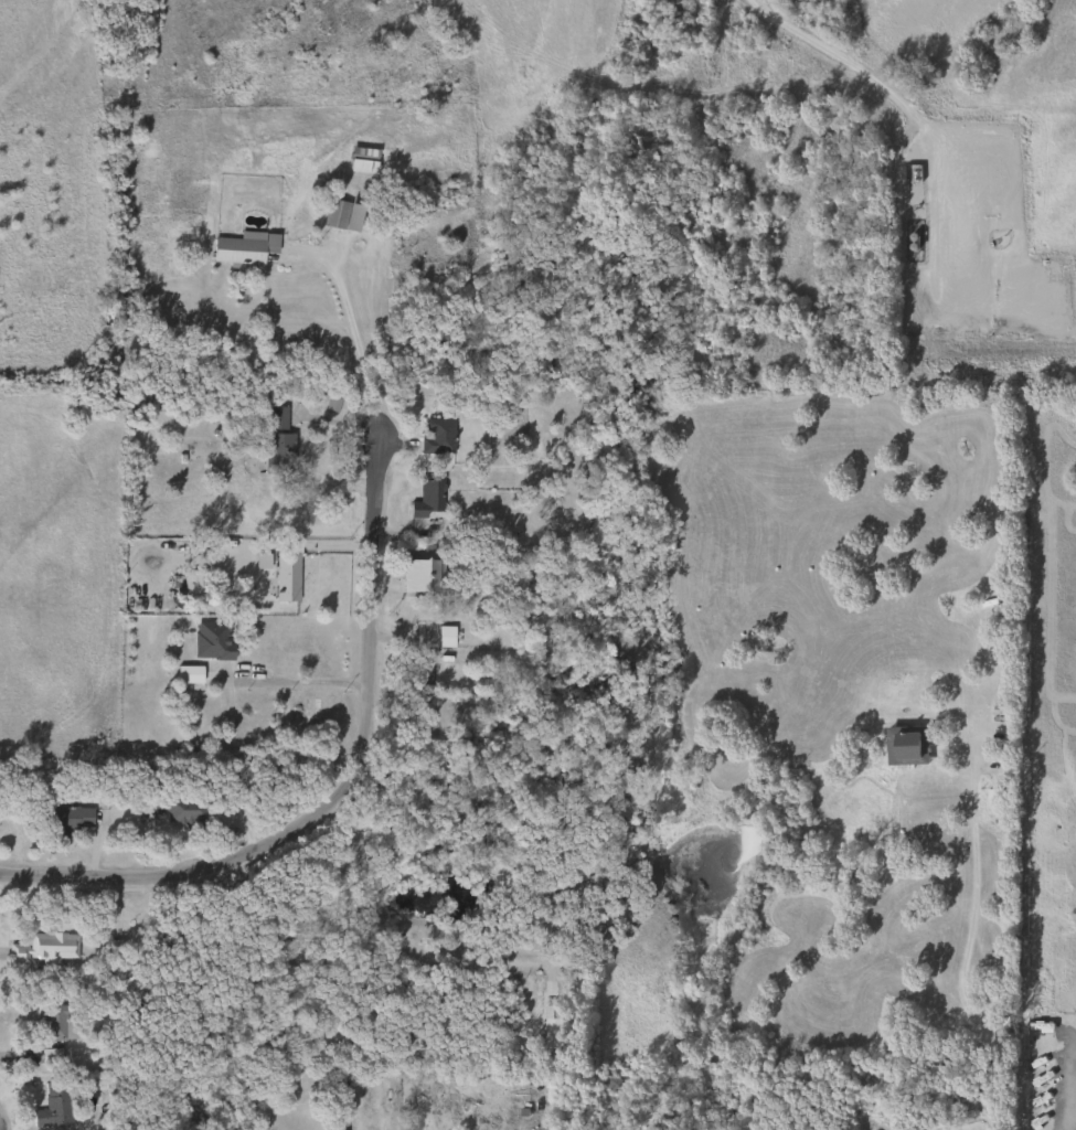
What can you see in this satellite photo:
road: (842, 61)
building: (332, 214)
building: (241, 248)
road: (354, 341)
building: (436, 437)
building: (426, 500)
building: (285, 578)
building: (422, 578)
building: (443, 638)
building: (210, 641)
road: (290, 676)
road: (339, 782)
building: (185, 814)
building: (65, 820)
road: (386, 945)
building: (41, 949)
road: (959, 971)
building: (50, 1024)
building: (552, 1042)
road: (1065, 1084)
building: (51, 1106)

